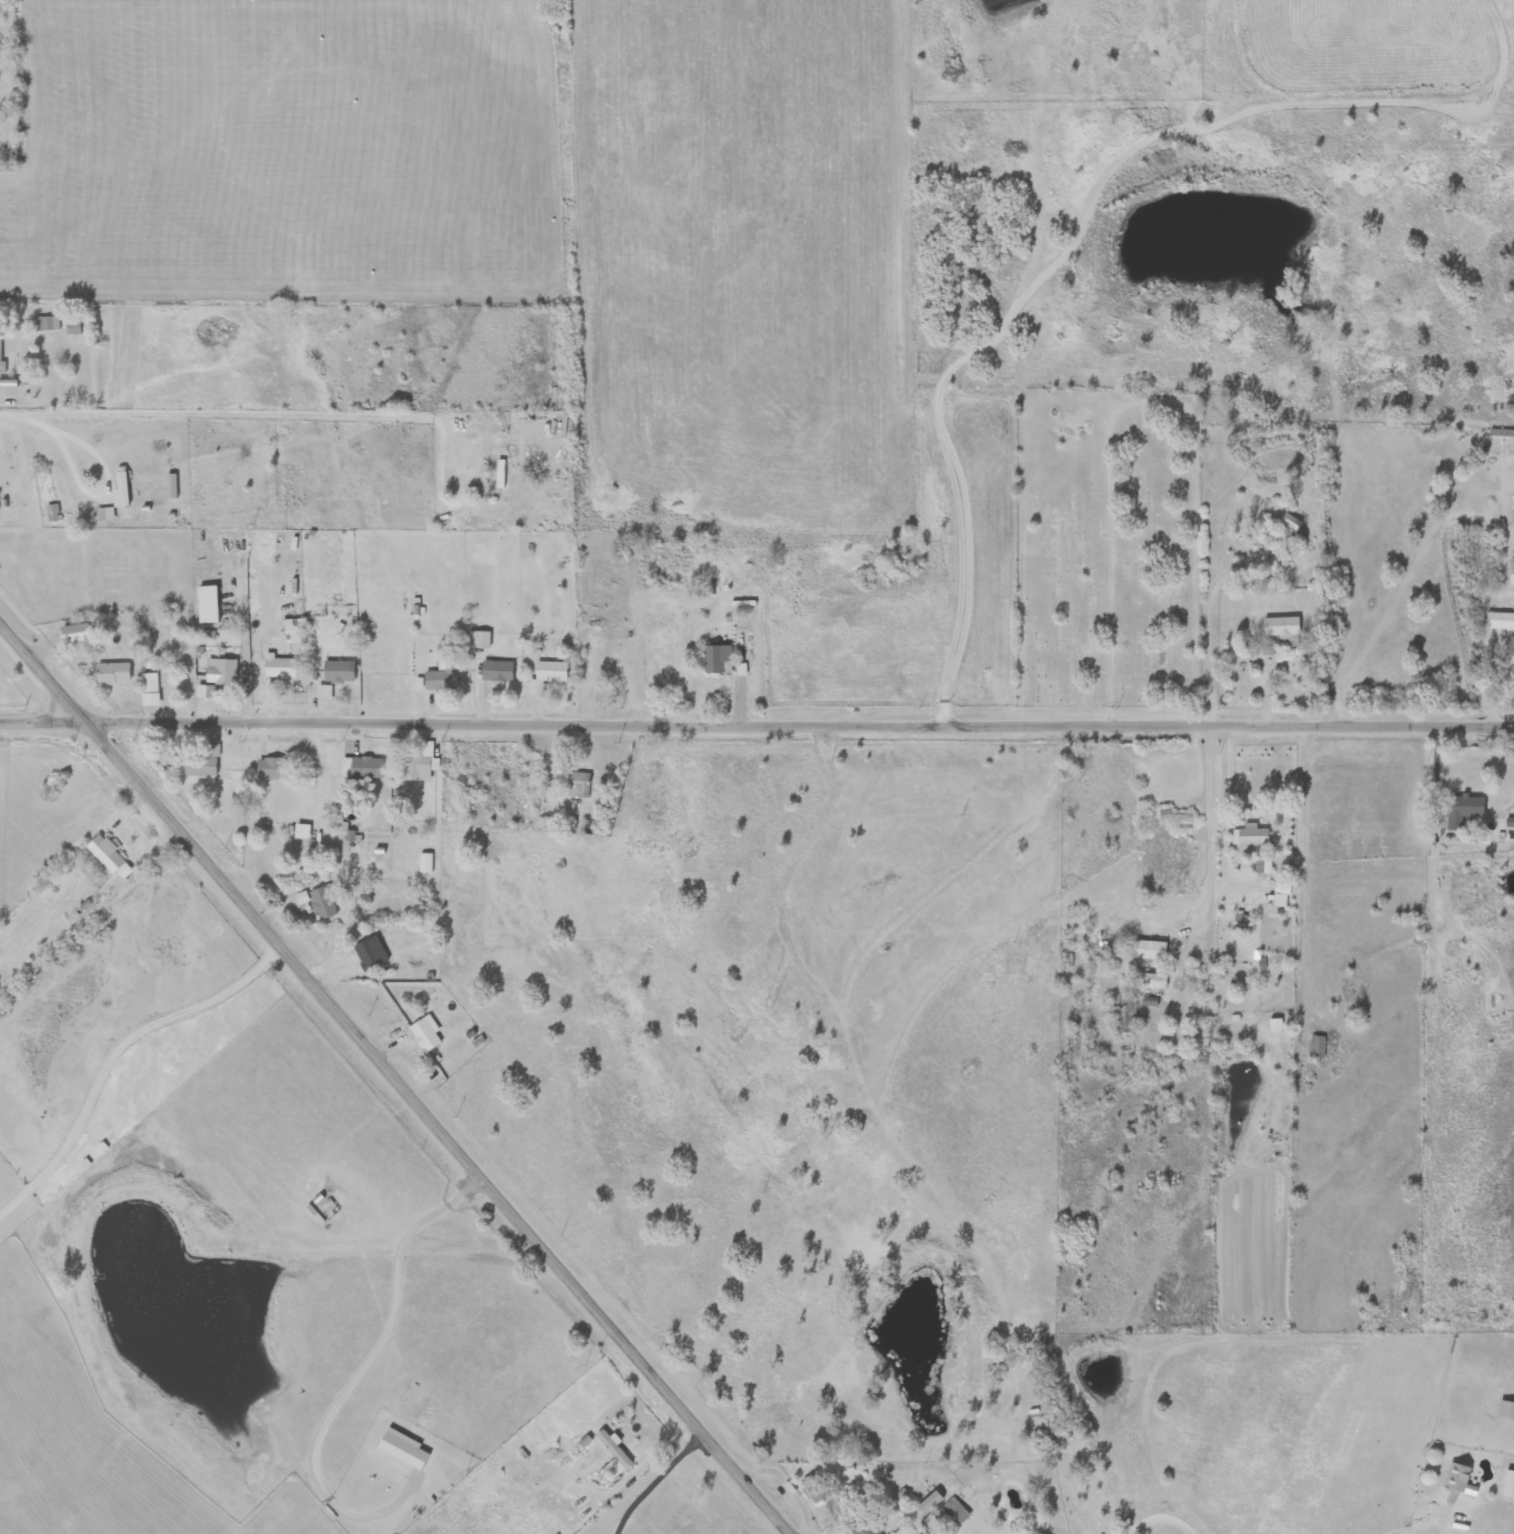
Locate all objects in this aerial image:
building: (47, 324)
building: (73, 328)
road: (987, 338)
building: (0, 355)
road: (366, 417)
road: (24, 418)
building: (501, 473)
road: (108, 482)
building: (280, 486)
building: (124, 487)
building: (1282, 521)
park: (1107, 550)
building: (1512, 576)
building: (208, 605)
road: (1206, 613)
building: (1500, 622)
building: (1281, 628)
building: (294, 631)
building: (482, 640)
building: (718, 660)
building: (149, 664)
road: (247, 666)
building: (279, 668)
building: (112, 672)
building: (339, 672)
building: (497, 672)
building: (222, 673)
building: (547, 676)
road: (596, 677)
building: (442, 678)
road: (1493, 681)
building: (150, 689)
road: (1267, 689)
road: (50, 699)
road: (45, 720)
road: (802, 724)
building: (421, 763)
building: (201, 768)
building: (273, 769)
building: (361, 770)
building: (578, 785)
building: (49, 788)
building: (1463, 810)
building: (1174, 820)
road: (1207, 832)
building: (1253, 836)
building: (106, 854)
building: (1263, 865)
building: (1279, 901)
building: (323, 903)
building: (1149, 951)
building: (367, 955)
building: (1150, 981)
building: (1125, 1020)
road: (1430, 1020)
building: (426, 1034)
building: (1317, 1048)
road: (116, 1054)
road: (398, 1074)
building: (752, 1280)
road: (371, 1362)
building: (1506, 1410)
building: (613, 1454)
road: (626, 1471)
road: (658, 1479)
building: (1458, 1483)
building: (815, 1488)
building: (952, 1512)
building: (1461, 1520)
building: (862, 1527)
road: (1163, 1528)

